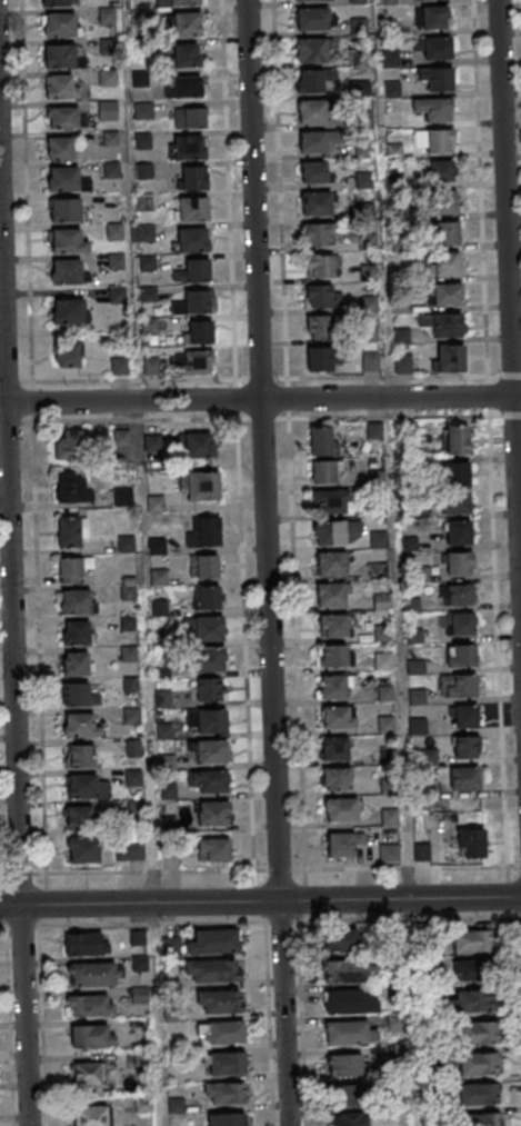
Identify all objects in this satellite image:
building: (307, 0)
building: (358, 1)
building: (389, 1)
building: (57, 2)
building: (184, 2)
building: (434, 17)
building: (314, 18)
building: (59, 26)
building: (187, 26)
building: (358, 26)
building: (433, 47)
building: (313, 49)
building: (63, 56)
building: (187, 57)
building: (391, 58)
building: (109, 77)
building: (140, 78)
building: (438, 78)
building: (314, 80)
building: (60, 87)
building: (186, 88)
building: (107, 110)
building: (312, 111)
building: (433, 111)
building: (63, 118)
building: (191, 118)
building: (110, 138)
building: (434, 139)
building: (142, 140)
building: (315, 141)
building: (188, 147)
building: (59, 148)
building: (394, 151)
building: (111, 169)
building: (143, 170)
building: (314, 172)
building: (440, 172)
building: (193, 177)
building: (63, 178)
building: (112, 200)
building: (144, 201)
building: (317, 203)
building: (444, 203)
building: (191, 208)
building: (64, 210)
building: (113, 230)
building: (143, 232)
building: (318, 235)
building: (447, 235)
building: (192, 239)
building: (67, 240)
building: (365, 241)
building: (116, 261)
building: (148, 262)
building: (448, 266)
building: (320, 267)
building: (193, 270)
building: (66, 271)
building: (368, 273)
building: (444, 293)
building: (321, 297)
building: (192, 302)
building: (67, 311)
road: (509, 316)
building: (441, 322)
building: (318, 326)
building: (198, 332)
building: (66, 356)
building: (321, 358)
building: (450, 358)
building: (370, 360)
building: (194, 361)
building: (402, 362)
building: (120, 366)
building: (151, 366)
road: (260, 399)
building: (403, 429)
building: (371, 430)
road: (488, 432)
building: (119, 438)
building: (457, 439)
building: (321, 441)
building: (150, 442)
building: (69, 445)
building: (200, 445)
building: (324, 472)
building: (454, 474)
building: (373, 478)
building: (200, 485)
building: (70, 486)
building: (121, 498)
building: (329, 501)
building: (453, 502)
building: (153, 505)
building: (374, 509)
building: (405, 512)
building: (71, 531)
building: (455, 531)
building: (204, 532)
building: (327, 532)
building: (375, 539)
building: (408, 544)
building: (123, 545)
building: (156, 547)
road: (265, 562)
building: (329, 564)
building: (459, 564)
building: (204, 566)
building: (72, 569)
building: (377, 570)
building: (419, 574)
building: (157, 578)
building: (126, 592)
building: (329, 595)
building: (459, 595)
building: (207, 597)
building: (77, 601)
building: (379, 601)
building: (410, 606)
building: (158, 608)
building: (126, 624)
building: (458, 625)
building: (331, 626)
building: (204, 628)
building: (76, 632)
building: (380, 632)
building: (412, 635)
building: (159, 639)
road: (397, 644)
building: (126, 654)
building: (330, 655)
building: (462, 655)
building: (211, 659)
building: (382, 661)
road: (12, 662)
building: (78, 664)
building: (413, 667)
building: (129, 685)
building: (457, 685)
building: (330, 687)
building: (210, 689)
building: (383, 694)
building: (79, 695)
building: (415, 697)
building: (160, 699)
building: (130, 716)
building: (332, 716)
building: (462, 716)
building: (207, 720)
building: (384, 724)
building: (81, 725)
building: (415, 726)
building: (161, 731)
building: (464, 747)
building: (131, 748)
building: (332, 748)
building: (211, 753)
building: (80, 755)
building: (385, 756)
building: (427, 757)
road: (248, 758)
building: (164, 763)
road: (147, 764)
building: (131, 778)
building: (333, 778)
building: (461, 778)
building: (207, 781)
building: (387, 786)
building: (87, 787)
building: (425, 790)
building: (166, 791)
building: (133, 807)
building: (340, 809)
building: (213, 815)
building: (78, 817)
building: (387, 818)
building: (471, 843)
building: (341, 844)
building: (169, 845)
building: (83, 850)
building: (128, 850)
building: (213, 850)
building: (385, 854)
building: (419, 854)
road: (260, 901)
building: (344, 940)
building: (212, 941)
building: (471, 943)
building: (87, 944)
building: (213, 970)
building: (472, 970)
building: (350, 971)
building: (92, 974)
building: (140, 998)
building: (219, 1002)
building: (474, 1002)
building: (350, 1003)
building: (89, 1005)
building: (221, 1033)
building: (350, 1033)
building: (479, 1033)
building: (92, 1036)
building: (227, 1063)
building: (345, 1064)
building: (479, 1064)
building: (87, 1073)
building: (226, 1094)
building: (350, 1094)
building: (479, 1094)
building: (144, 1104)
building: (90, 1115)
building: (227, 1119)
building: (348, 1119)
building: (488, 1119)

